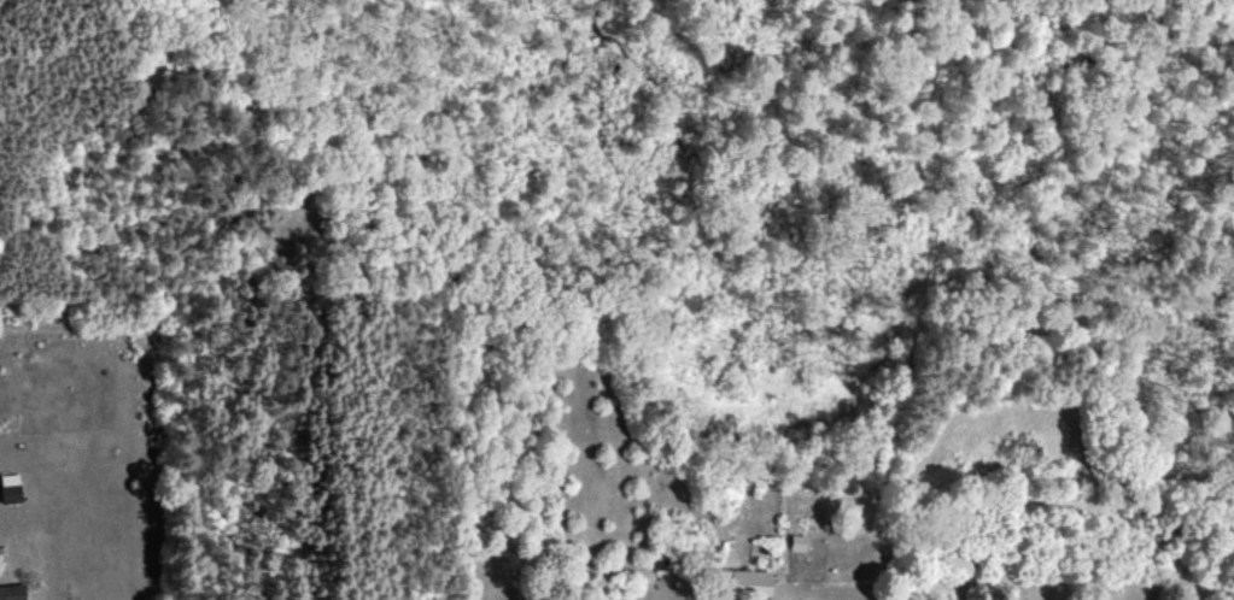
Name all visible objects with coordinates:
building: (8, 487)
building: (744, 582)

